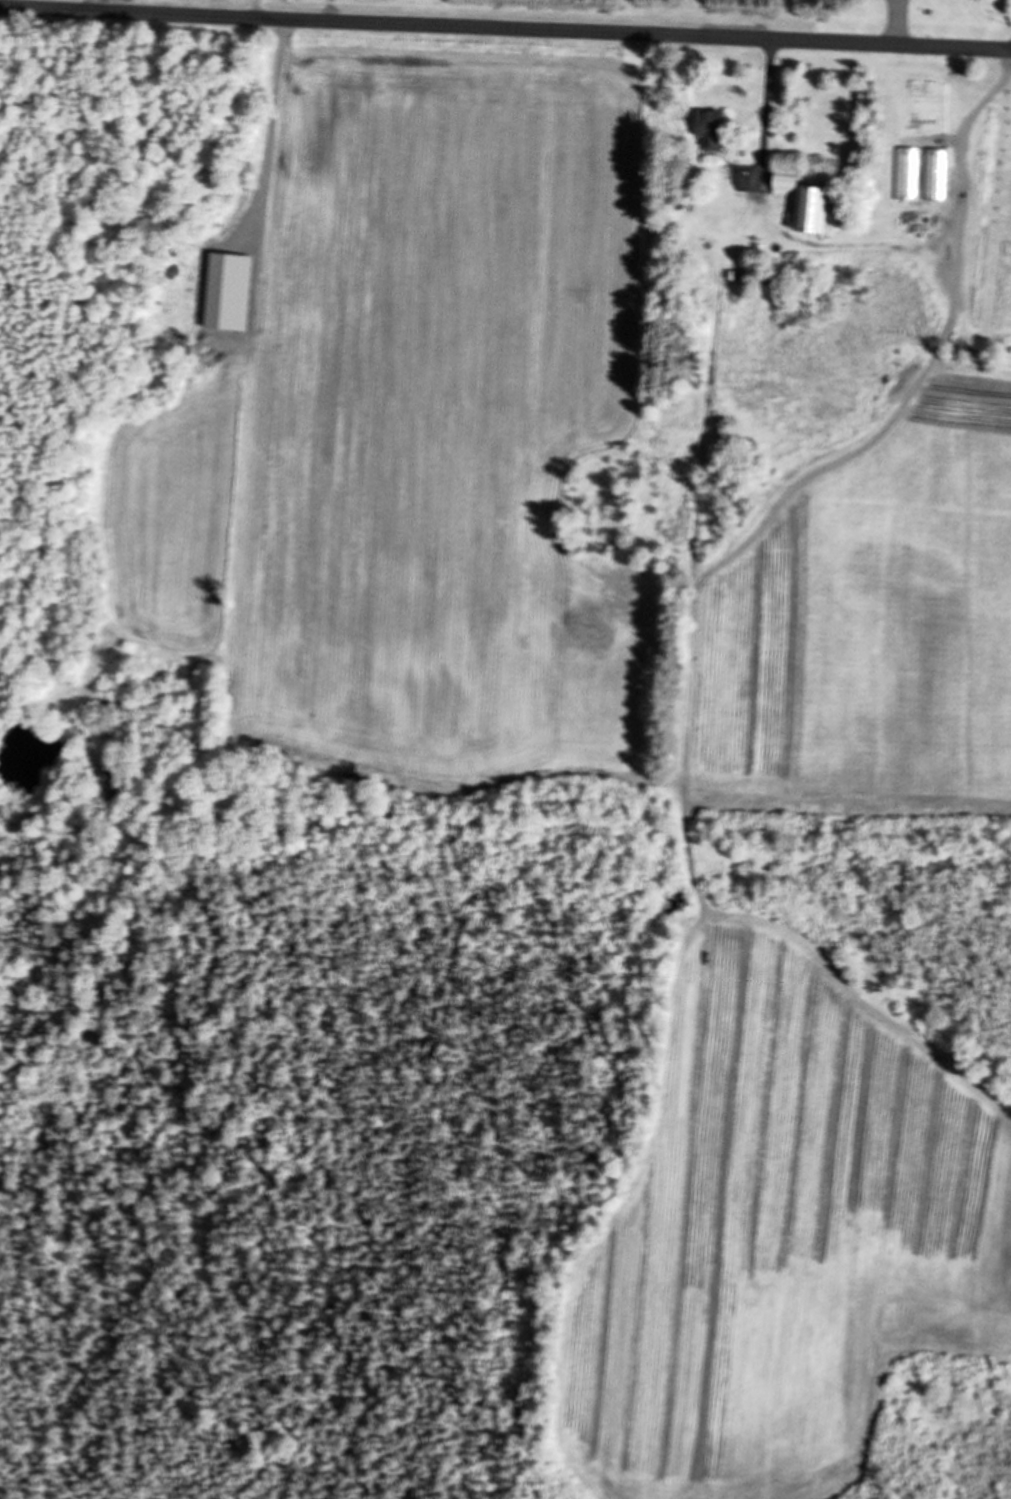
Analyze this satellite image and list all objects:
road: (505, 25)
building: (707, 127)
building: (800, 202)

